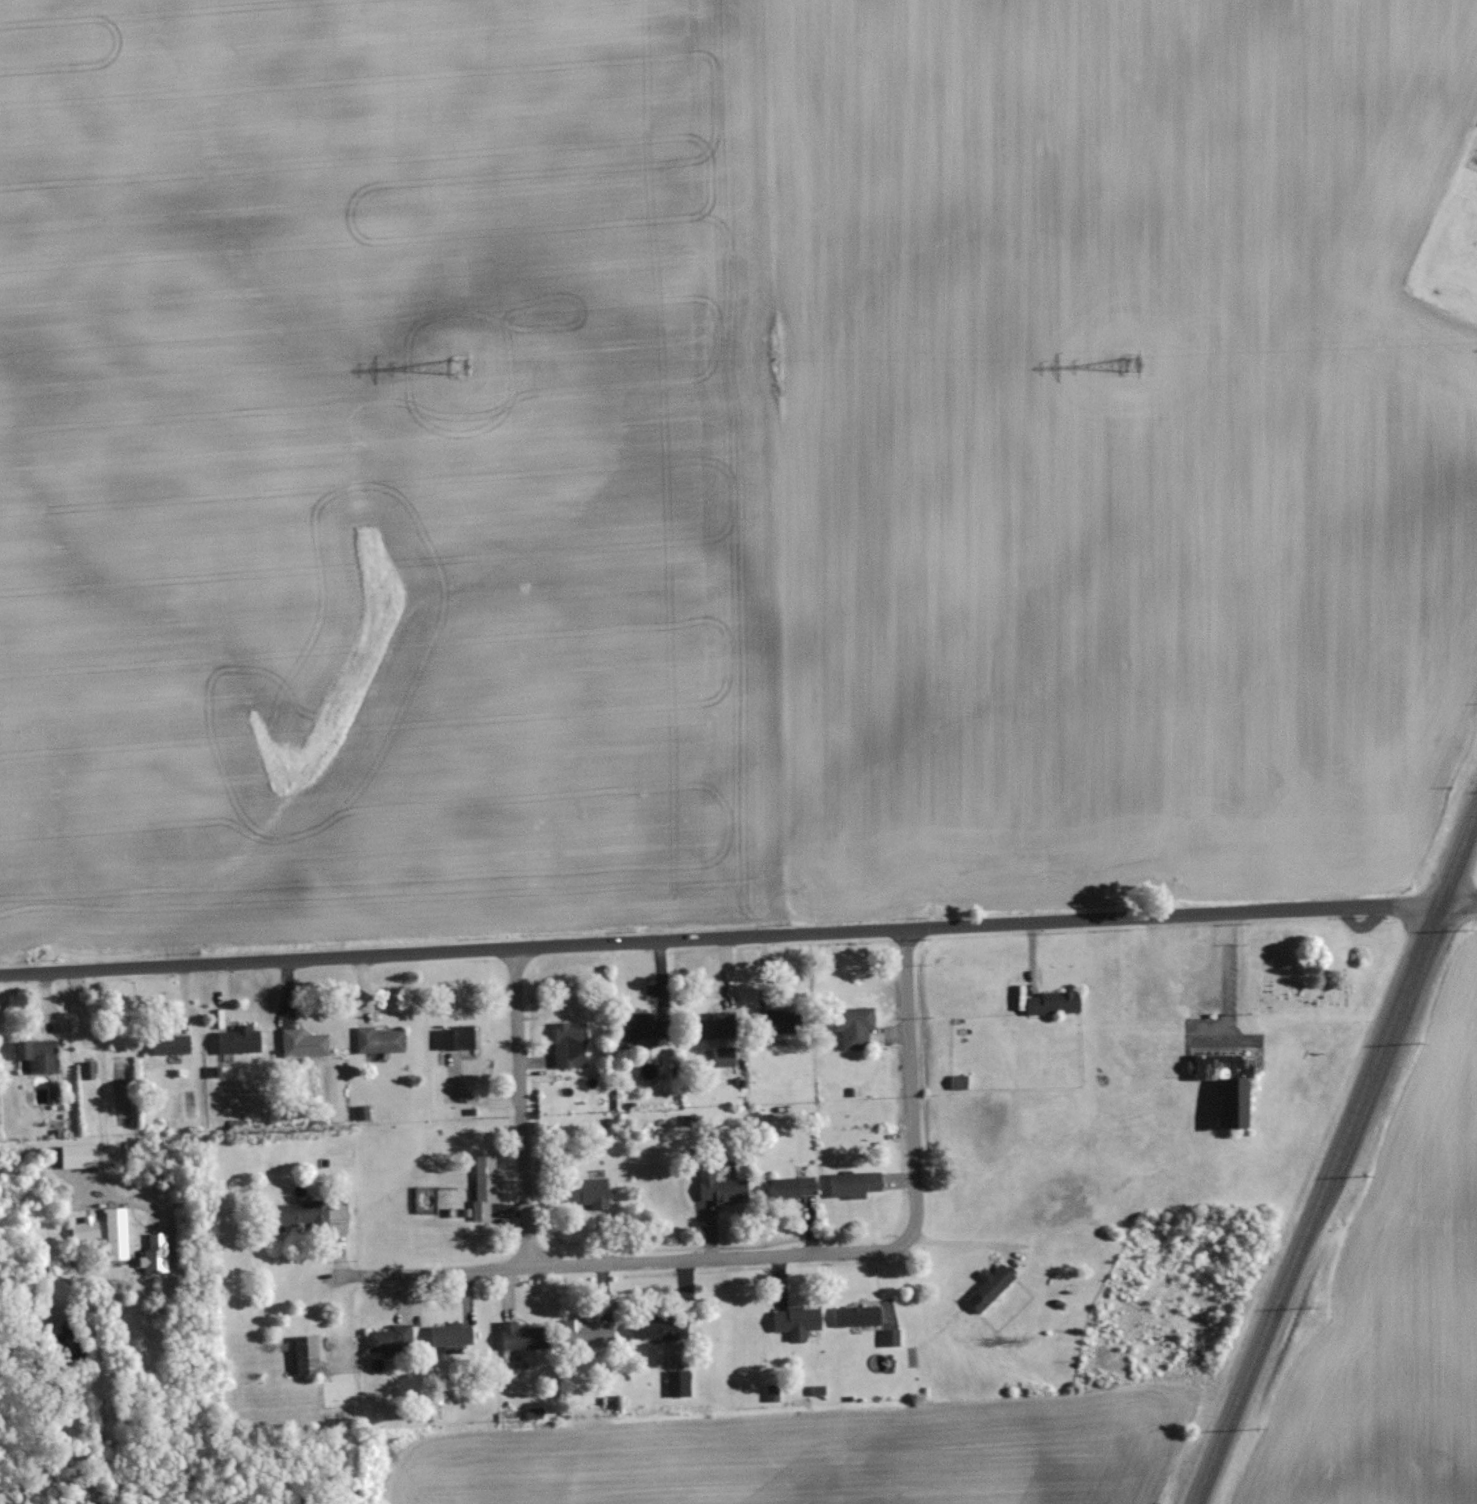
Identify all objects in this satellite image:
power tower: (466, 363)
power tower: (1133, 363)
road: (738, 934)
building: (1050, 1001)
building: (713, 1022)
building: (853, 1026)
building: (636, 1027)
building: (457, 1035)
building: (379, 1038)
building: (238, 1039)
building: (169, 1043)
building: (303, 1043)
building: (569, 1043)
building: (36, 1054)
building: (1227, 1071)
road: (912, 1082)
road: (519, 1105)
building: (76, 1155)
road: (1340, 1168)
building: (852, 1183)
building: (717, 1185)
building: (483, 1186)
building: (792, 1187)
building: (584, 1195)
building: (312, 1213)
building: (116, 1229)
road: (960, 1244)
road: (634, 1258)
building: (989, 1287)
building: (850, 1314)
building: (795, 1318)
building: (653, 1326)
building: (588, 1330)
building: (450, 1335)
building: (521, 1335)
building: (391, 1337)
building: (305, 1354)
building: (677, 1382)

